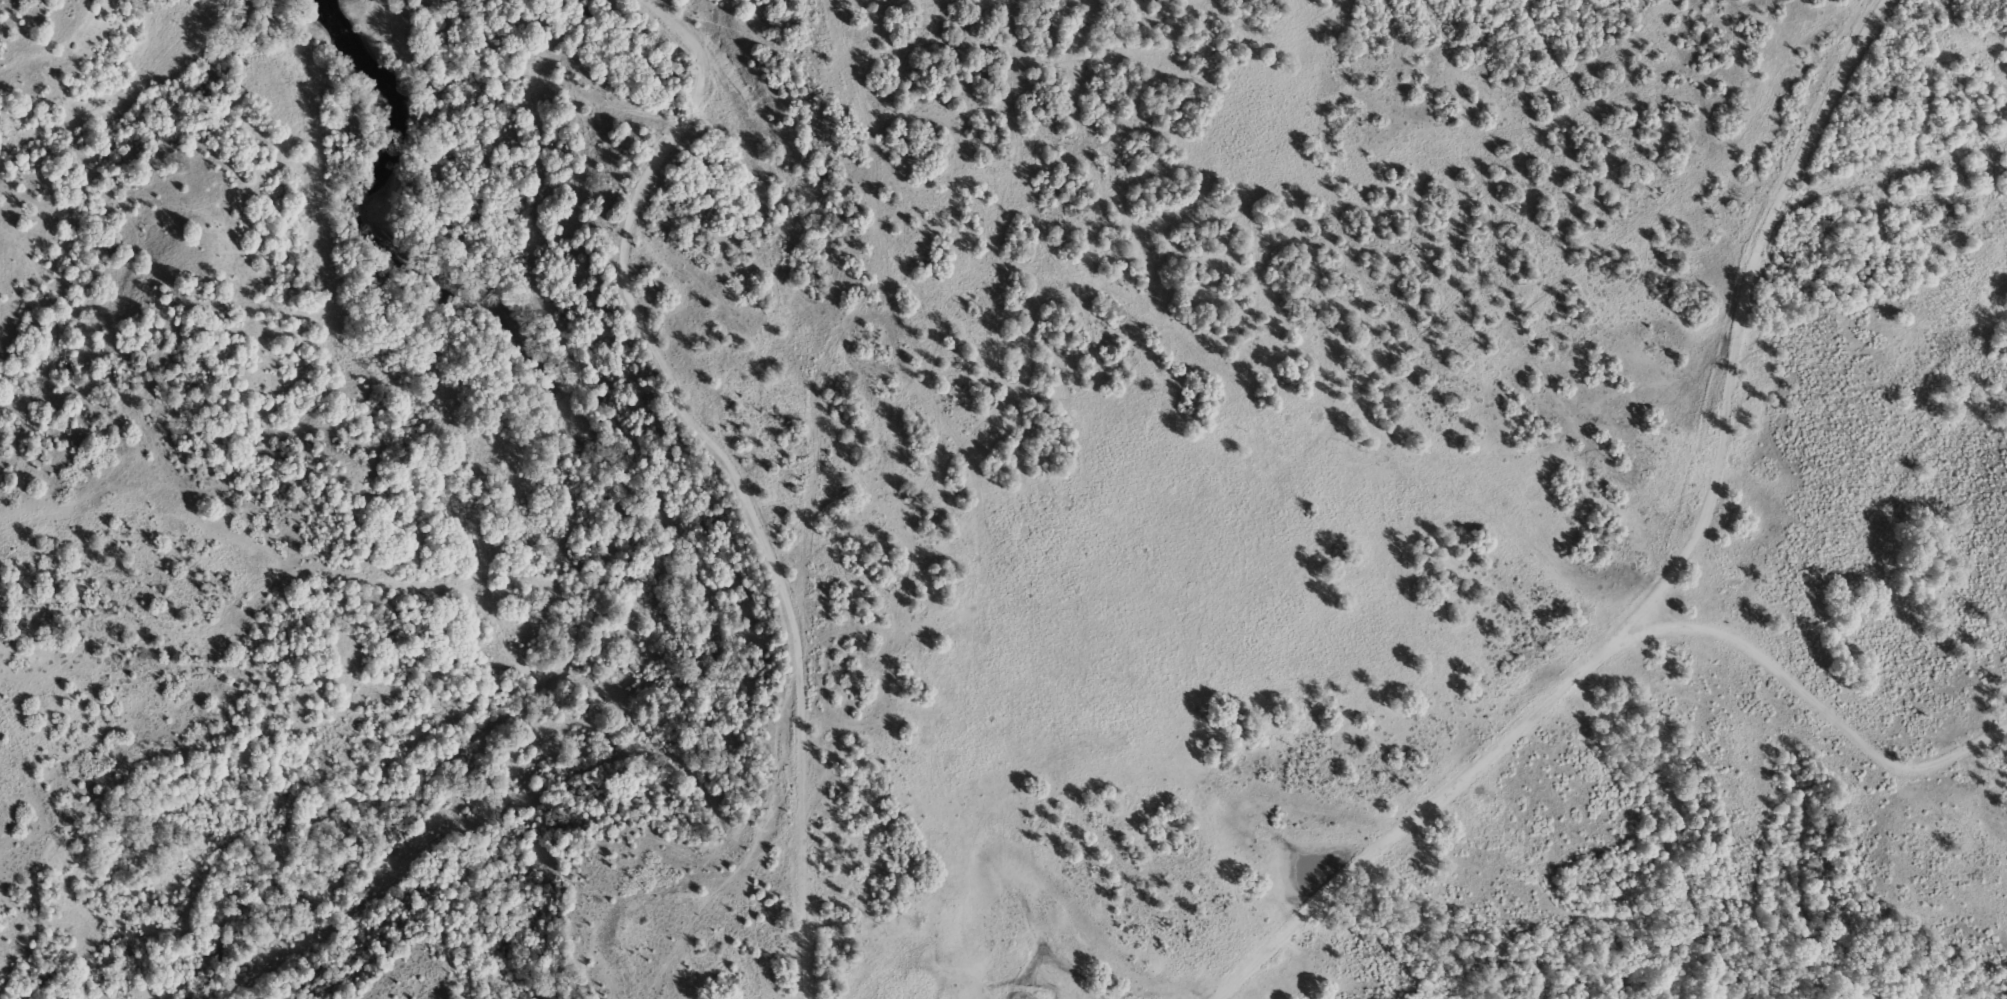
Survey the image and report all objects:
road: (727, 480)
road: (1660, 573)
road: (1821, 706)

